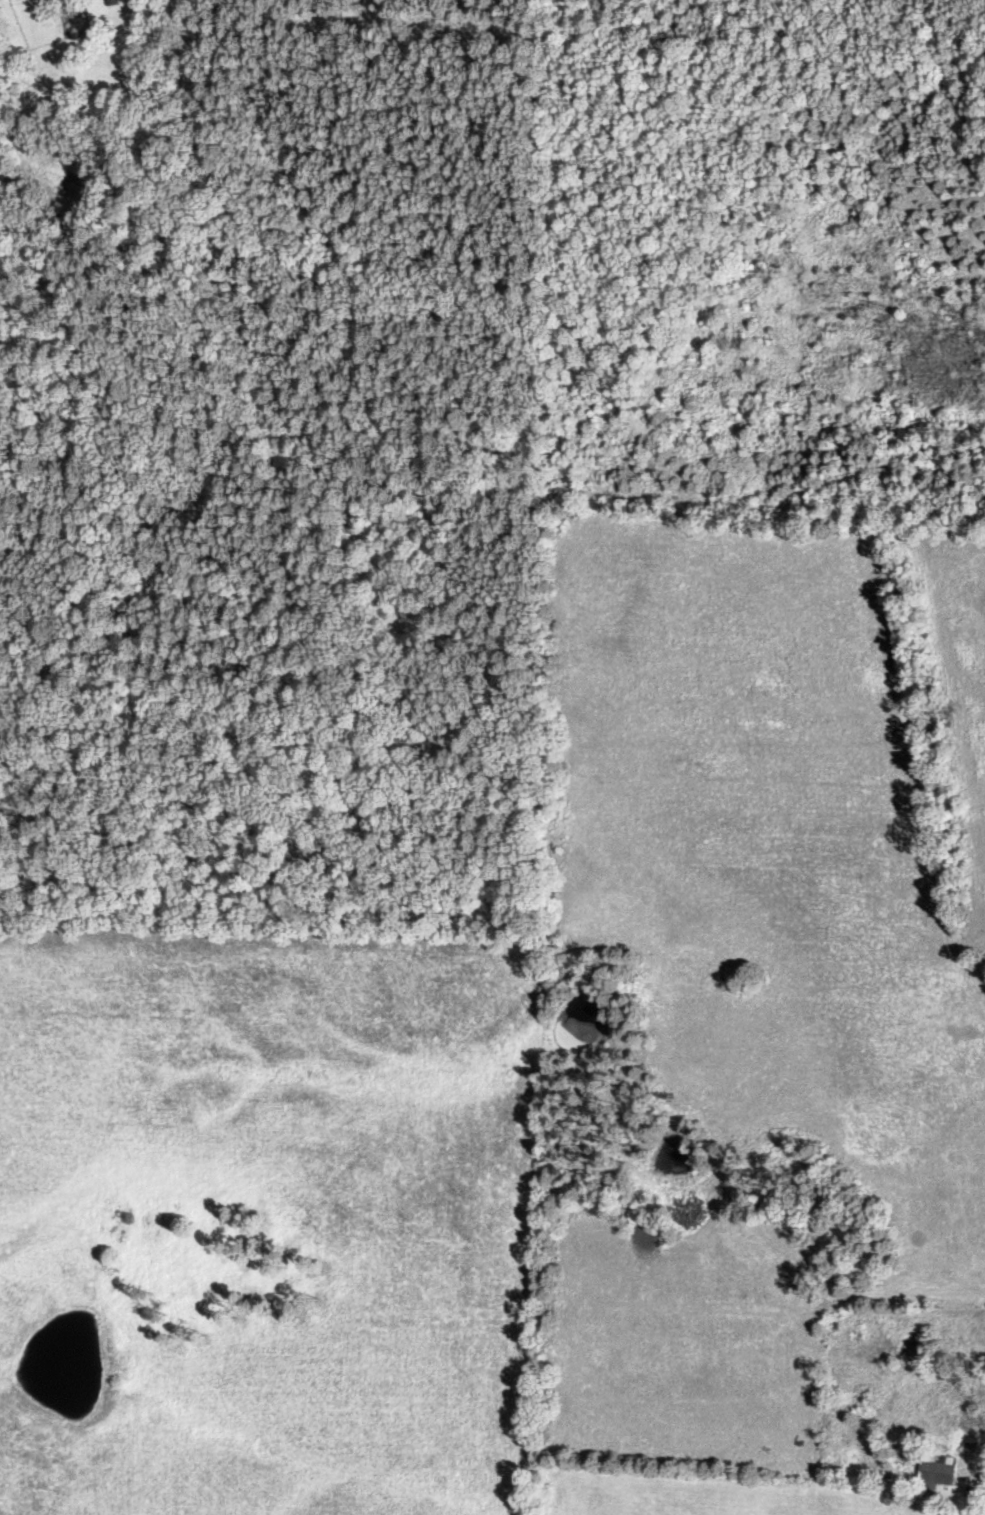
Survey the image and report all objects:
building: (944, 1470)

